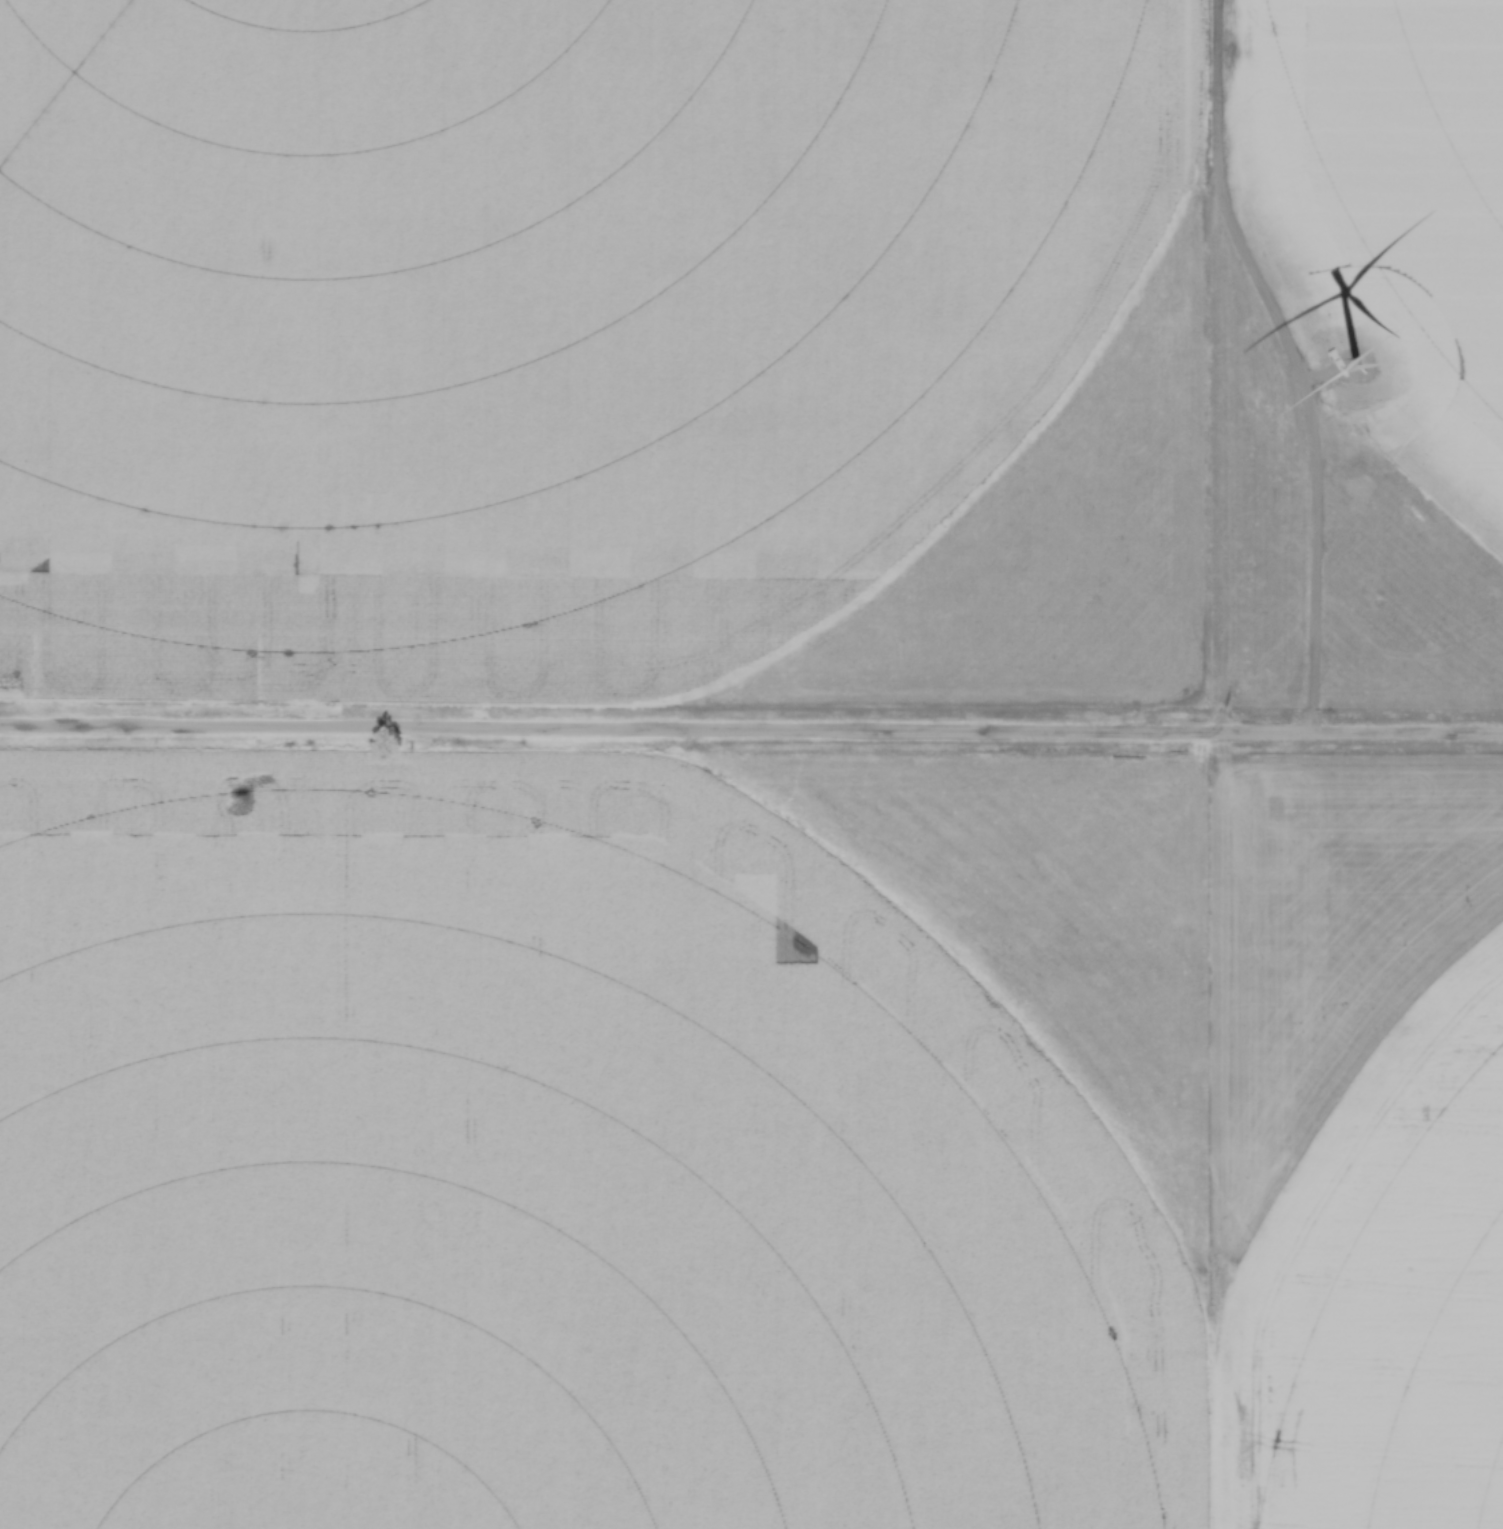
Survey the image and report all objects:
road: (1294, 358)
wind turbine: (1353, 364)
road: (751, 728)

